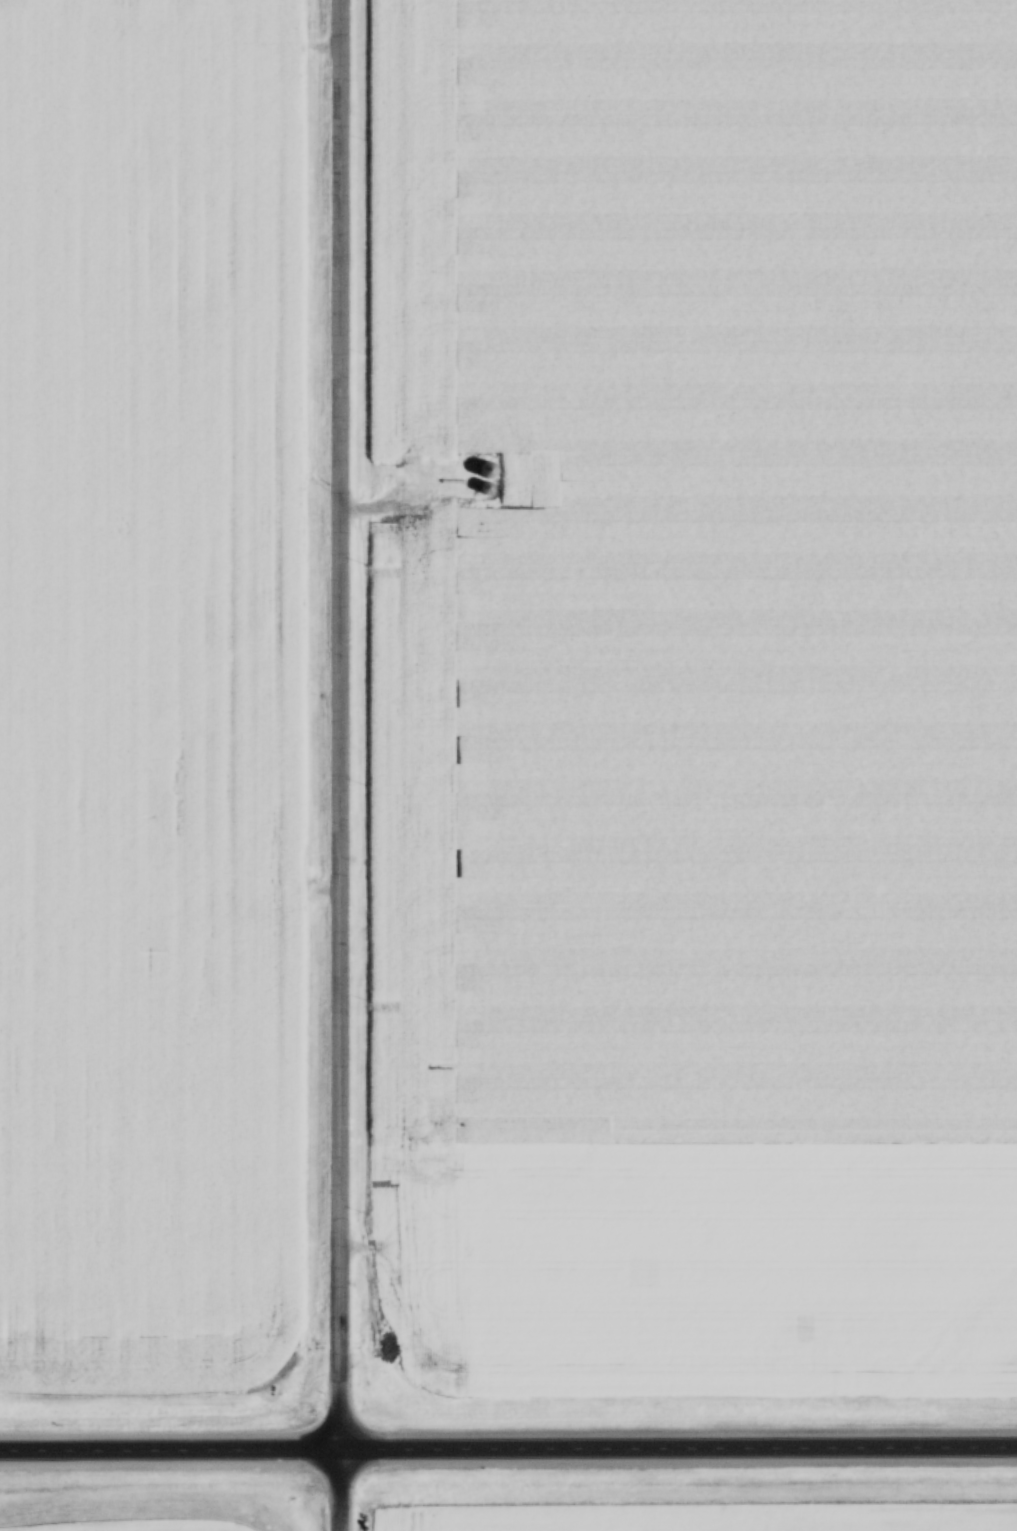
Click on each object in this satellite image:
building: (487, 472)
road: (344, 765)
road: (508, 1448)

